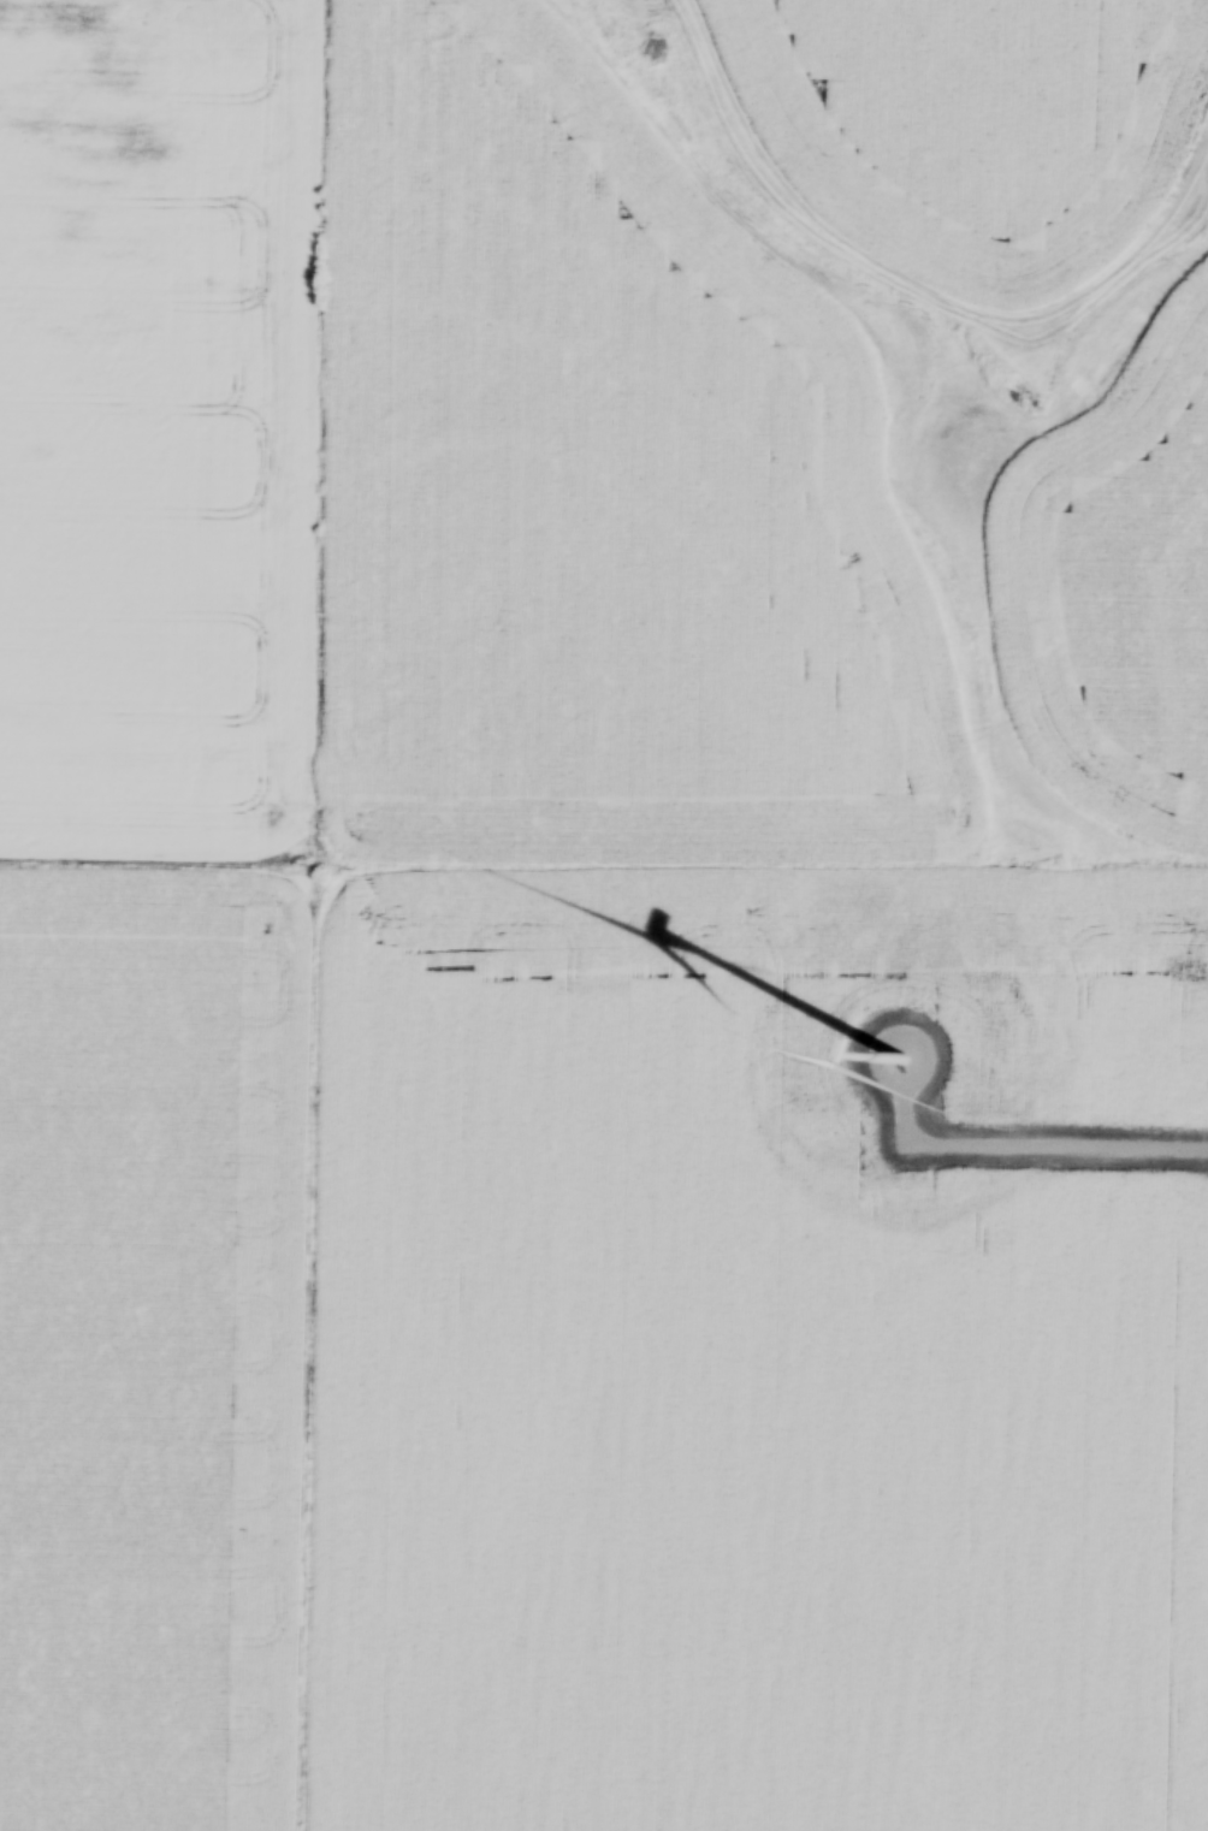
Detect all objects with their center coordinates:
wind turbine: (898, 1057)

